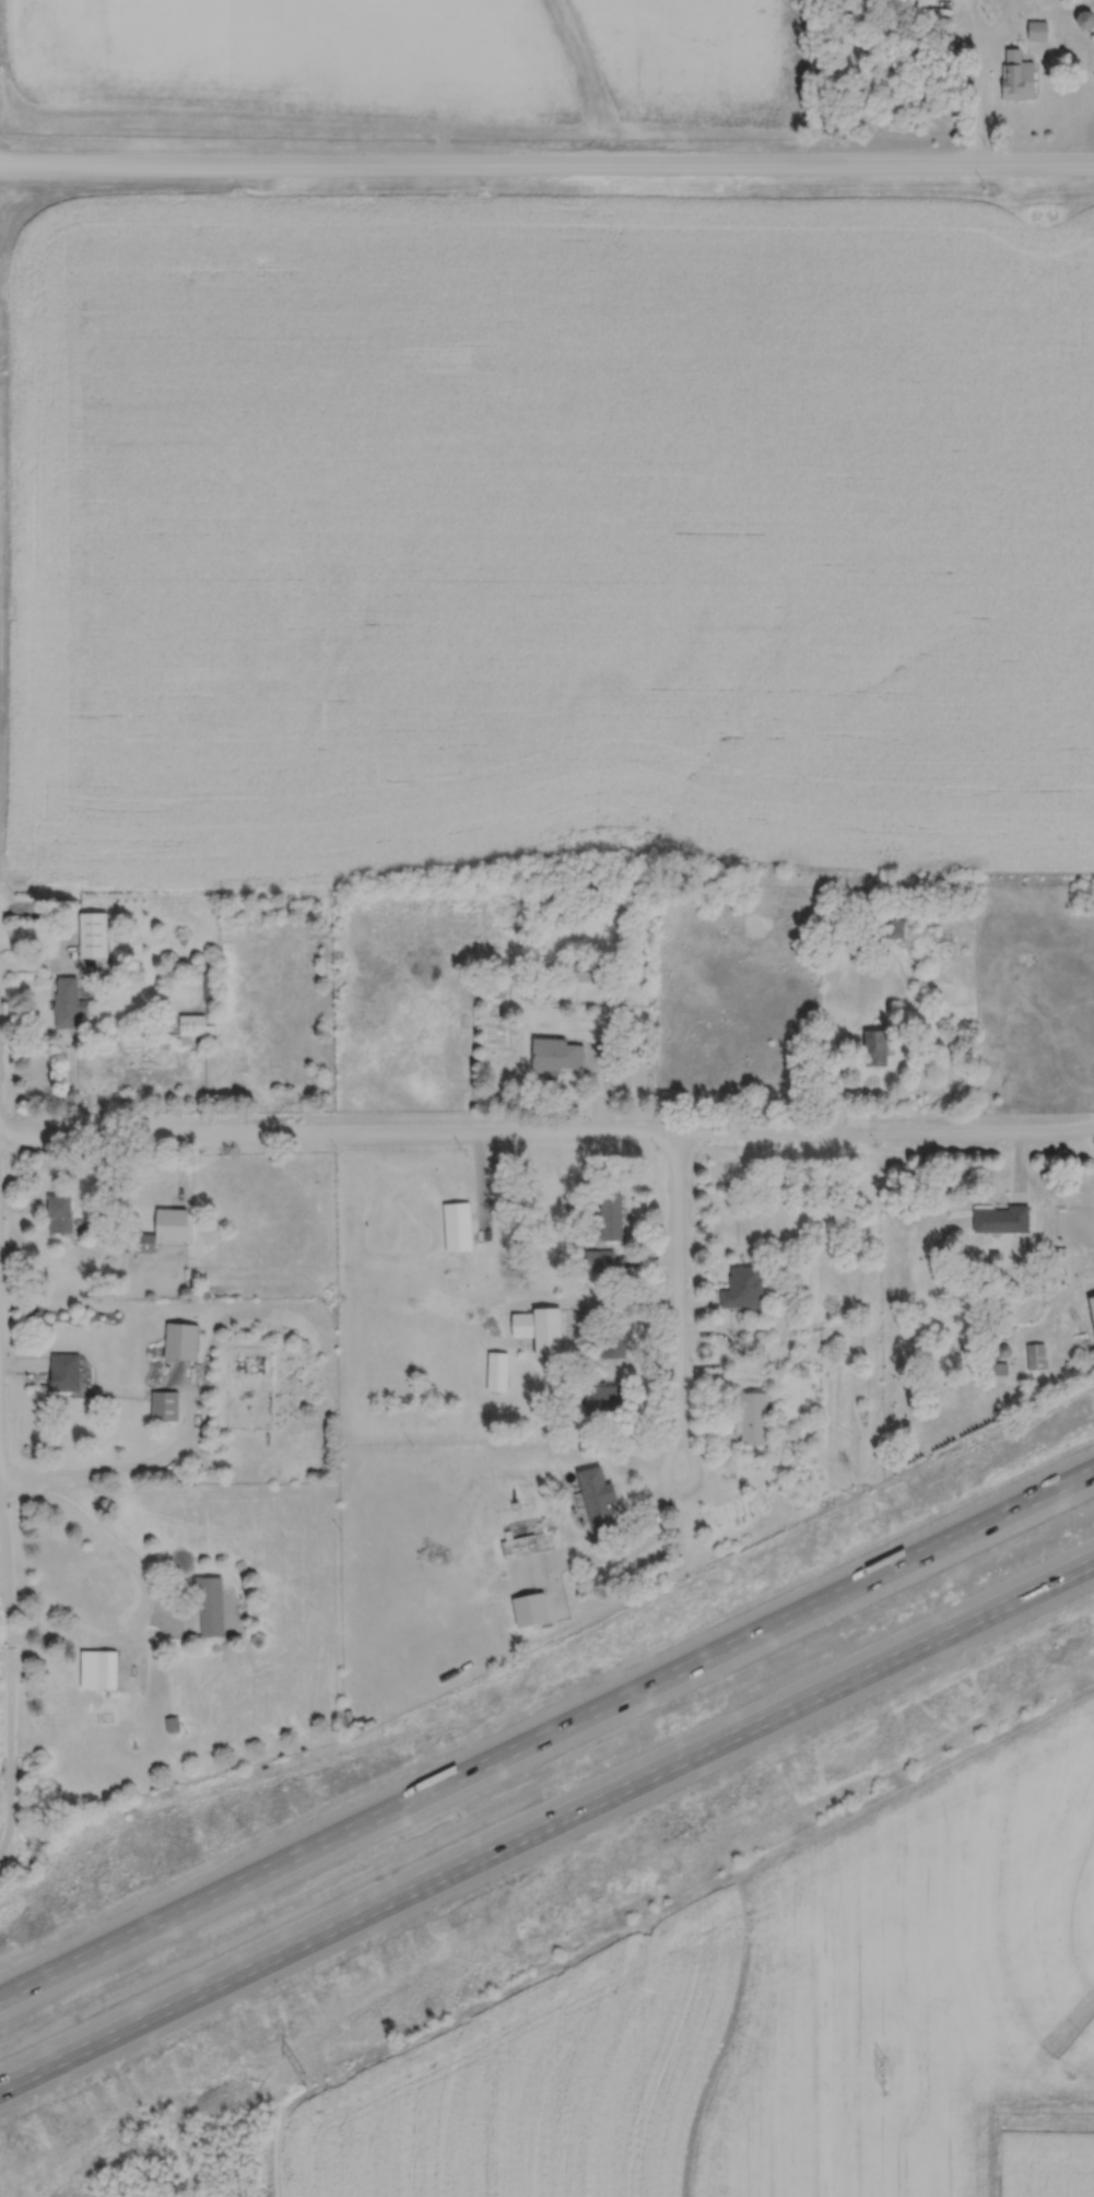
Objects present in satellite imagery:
building: (1082, 20)
building: (1036, 31)
road: (983, 34)
building: (1015, 81)
road: (974, 103)
road: (546, 166)
building: (889, 928)
building: (94, 933)
building: (581, 972)
building: (67, 1002)
building: (195, 1025)
building: (873, 1047)
building: (566, 1055)
road: (546, 1133)
building: (60, 1213)
building: (608, 1218)
building: (999, 1220)
building: (140, 1242)
building: (595, 1261)
building: (741, 1289)
road: (675, 1305)
building: (538, 1330)
building: (183, 1340)
building: (610, 1347)
building: (1033, 1359)
building: (66, 1372)
building: (495, 1373)
building: (602, 1401)
building: (165, 1406)
building: (750, 1417)
road: (132, 1468)
building: (595, 1502)
building: (517, 1546)
road: (141, 1585)
building: (211, 1607)
road: (9, 1634)
building: (99, 1670)
road: (546, 1732)
road: (546, 1823)
power tower: (883, 2068)
power tower: (589, 2072)
power tower: (235, 2078)

